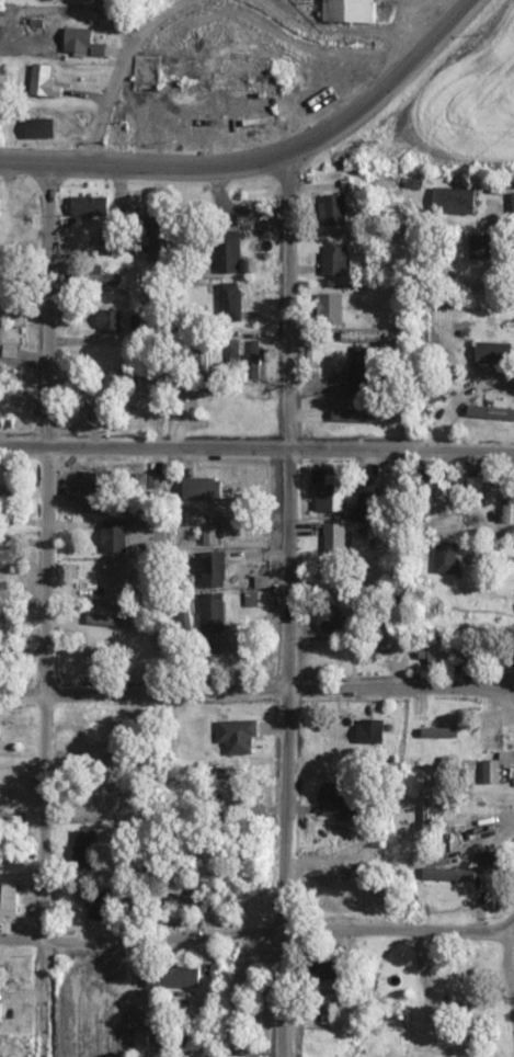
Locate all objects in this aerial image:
building: (354, 10)
building: (79, 38)
road: (119, 66)
building: (147, 71)
road: (388, 84)
building: (42, 127)
road: (144, 166)
building: (454, 200)
building: (513, 201)
building: (91, 205)
building: (334, 208)
road: (237, 213)
road: (512, 231)
building: (156, 234)
building: (113, 241)
building: (480, 247)
building: (229, 250)
building: (334, 259)
building: (115, 271)
building: (230, 300)
building: (331, 307)
building: (488, 308)
building: (0, 312)
building: (110, 320)
building: (494, 352)
building: (255, 355)
building: (361, 366)
building: (130, 377)
building: (10, 379)
building: (93, 394)
building: (1, 408)
building: (491, 411)
road: (256, 448)
building: (101, 479)
building: (203, 488)
building: (436, 490)
building: (331, 493)
building: (368, 503)
building: (115, 535)
building: (334, 538)
building: (447, 557)
building: (207, 567)
building: (116, 578)
road: (287, 605)
road: (44, 611)
building: (212, 612)
building: (328, 617)
building: (436, 650)
road: (256, 693)
building: (490, 730)
building: (370, 731)
building: (238, 736)
building: (491, 771)
building: (489, 796)
building: (335, 797)
building: (113, 805)
building: (427, 806)
building: (84, 848)
building: (449, 874)
building: (10, 900)
building: (98, 903)
road: (510, 924)
road: (253, 935)
building: (325, 971)
building: (173, 977)
building: (429, 1049)

